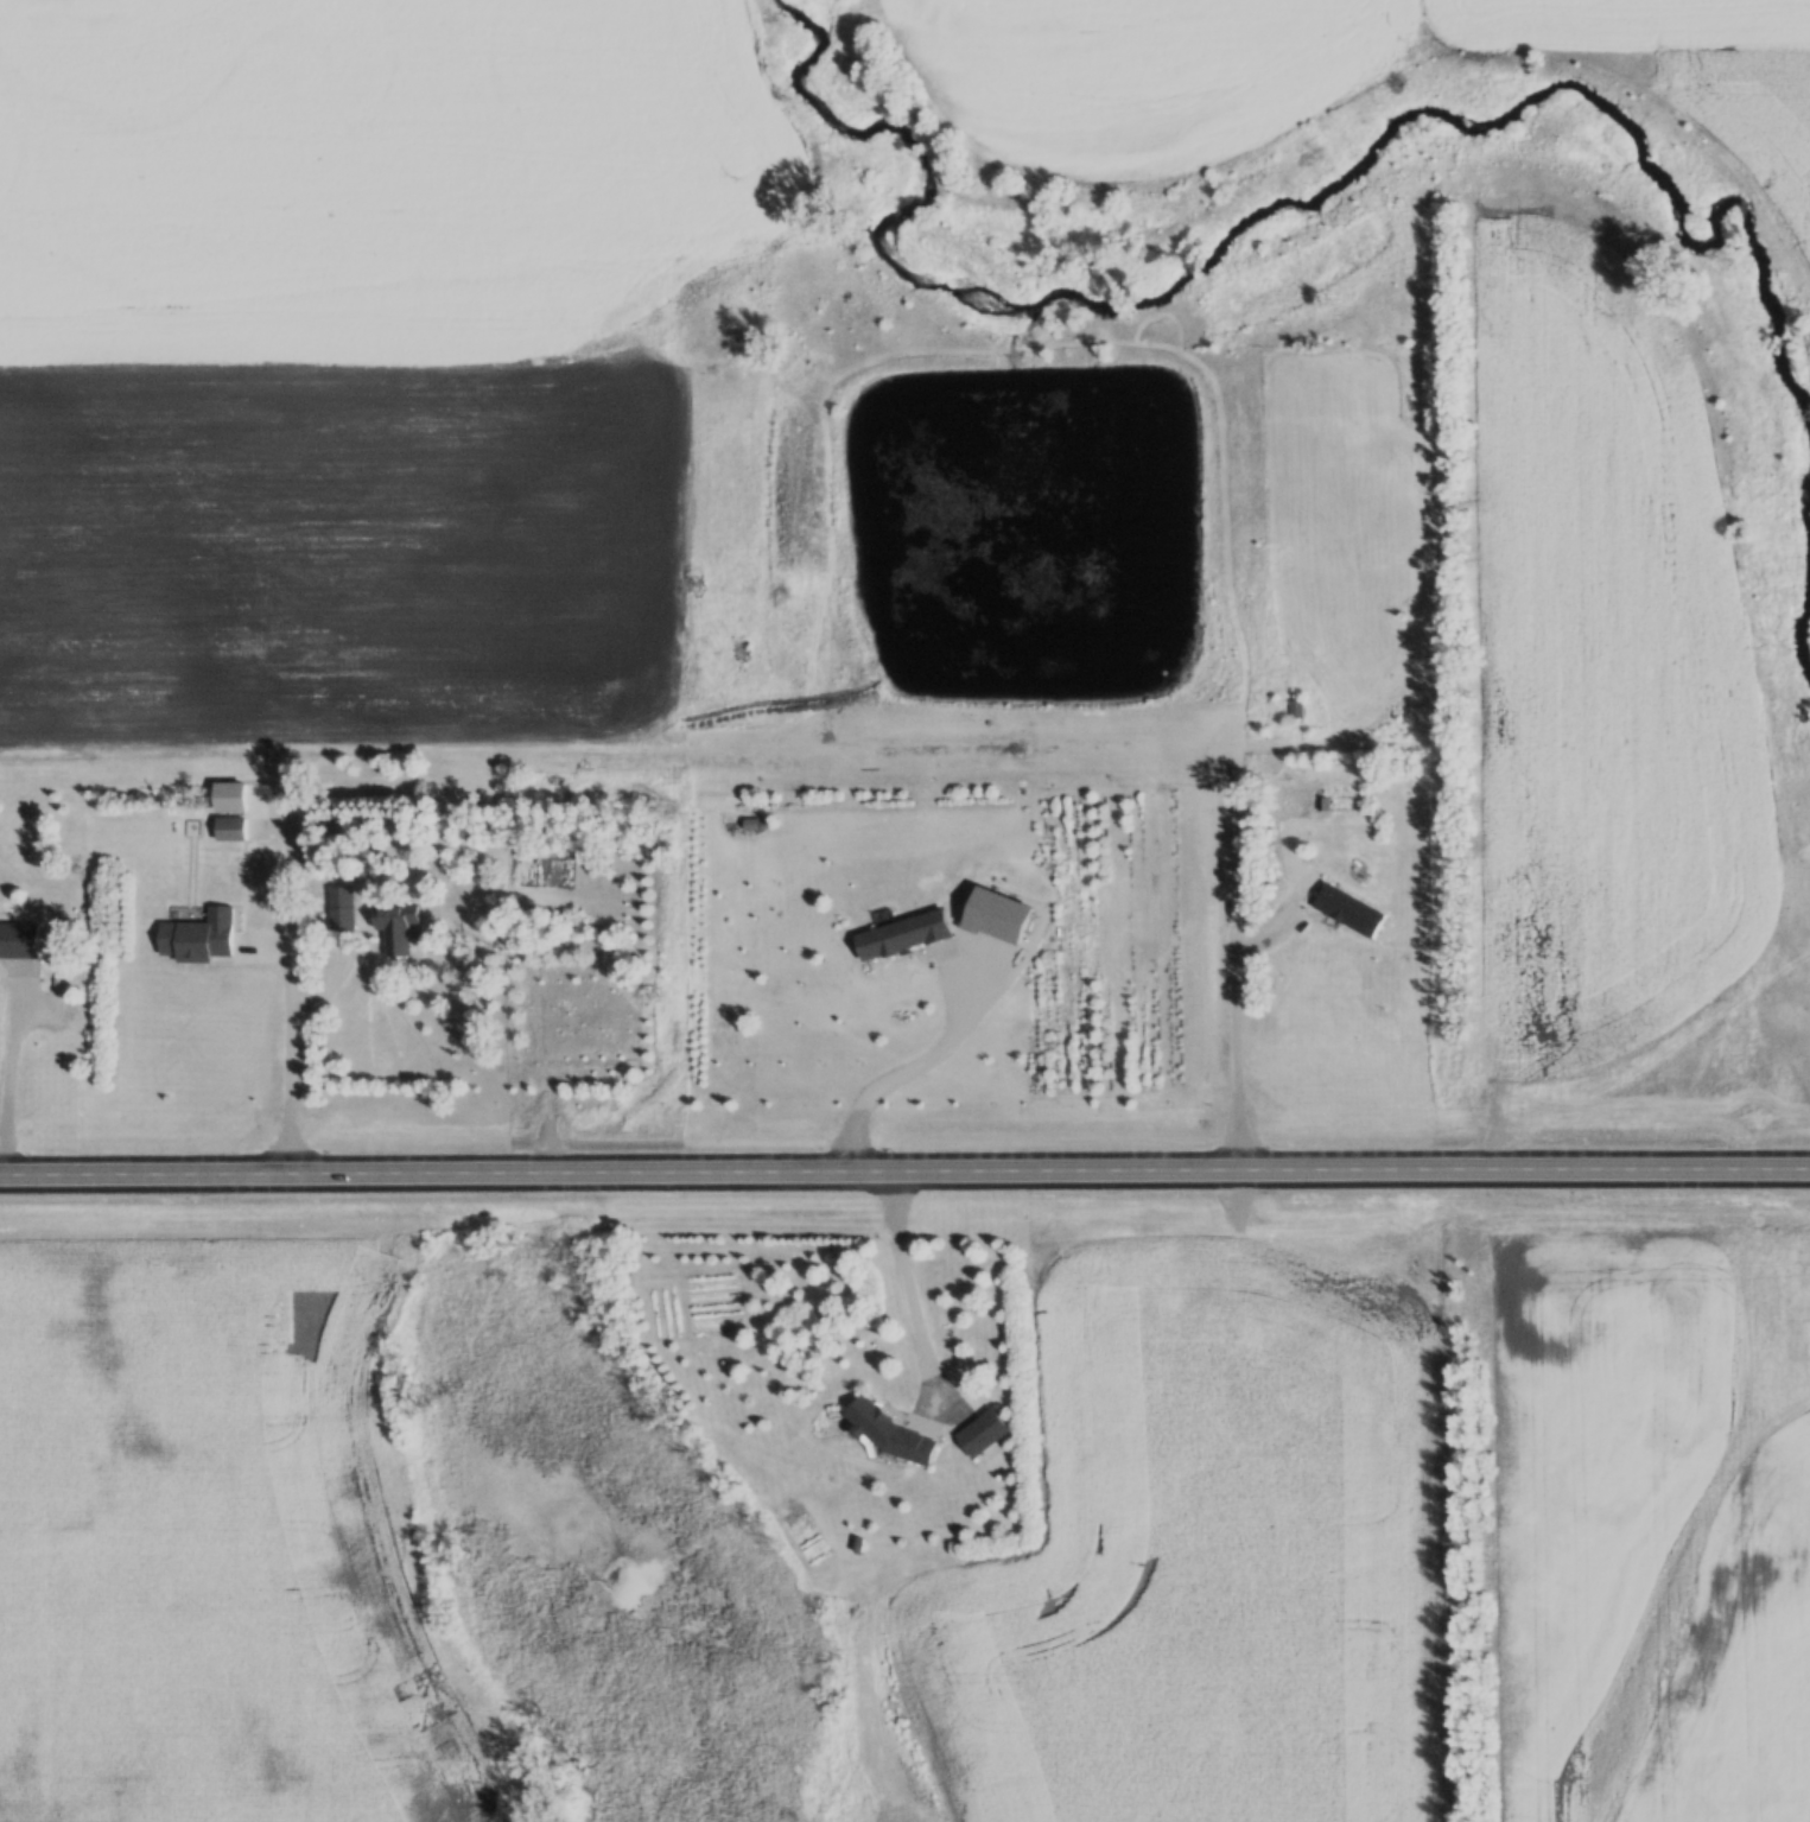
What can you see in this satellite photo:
river: (1269, 230)
river: (1808, 551)
building: (229, 829)
building: (341, 896)
building: (1347, 909)
building: (900, 934)
building: (196, 937)
building: (18, 940)
road: (904, 1182)
building: (979, 1433)
building: (894, 1437)

